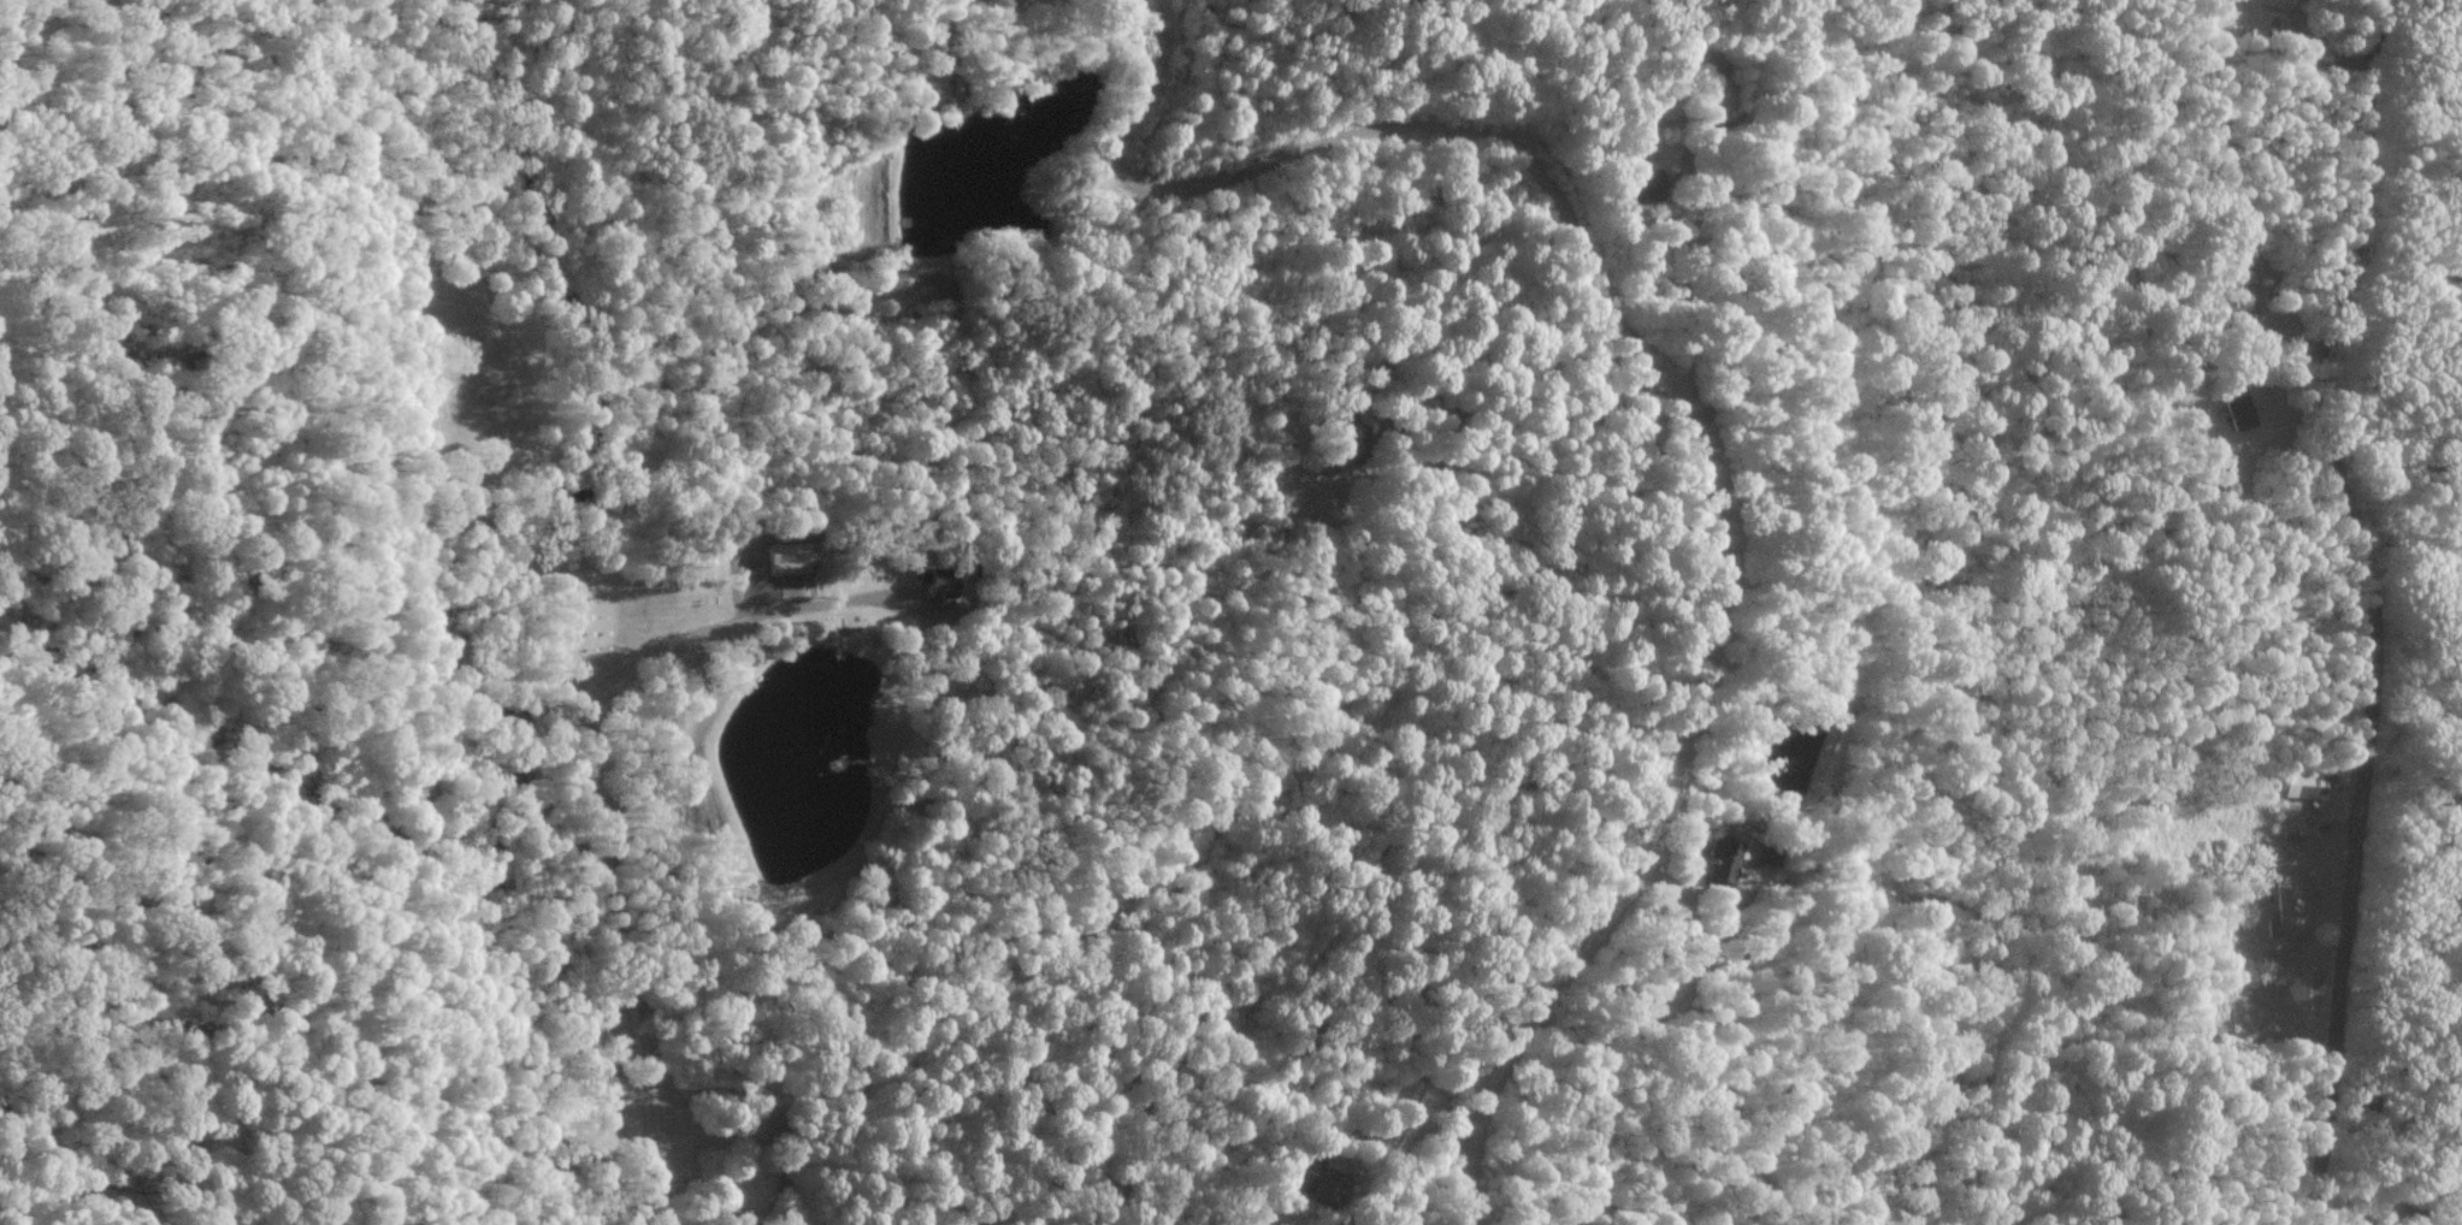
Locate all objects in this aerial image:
building: (1720, 100)
building: (1637, 184)
road: (1671, 403)
building: (2236, 408)
building: (1345, 438)
building: (783, 557)
building: (940, 581)
road: (2375, 605)
building: (2299, 783)
road: (596, 800)
building: (1765, 854)
building: (1718, 862)
building: (2286, 901)
building: (1316, 1182)

